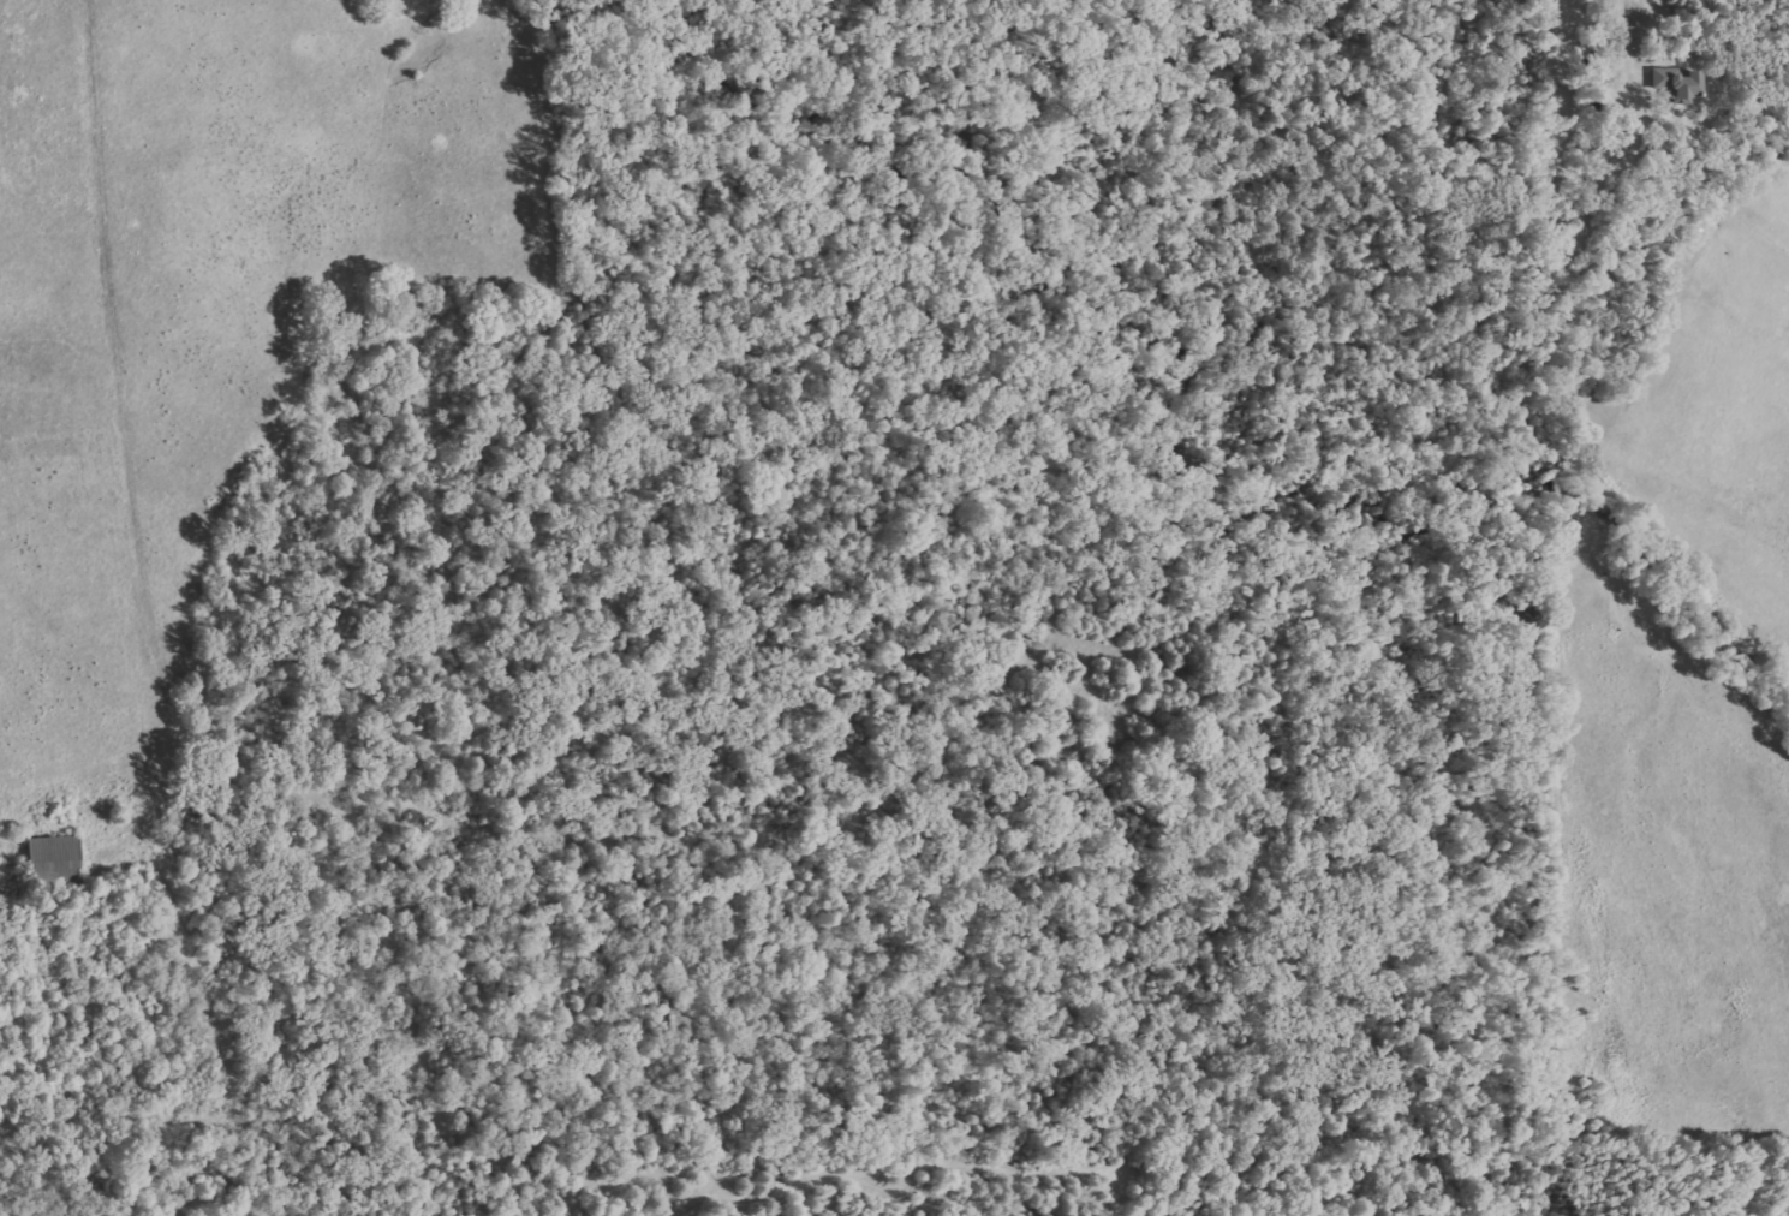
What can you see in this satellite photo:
building: (1686, 83)

